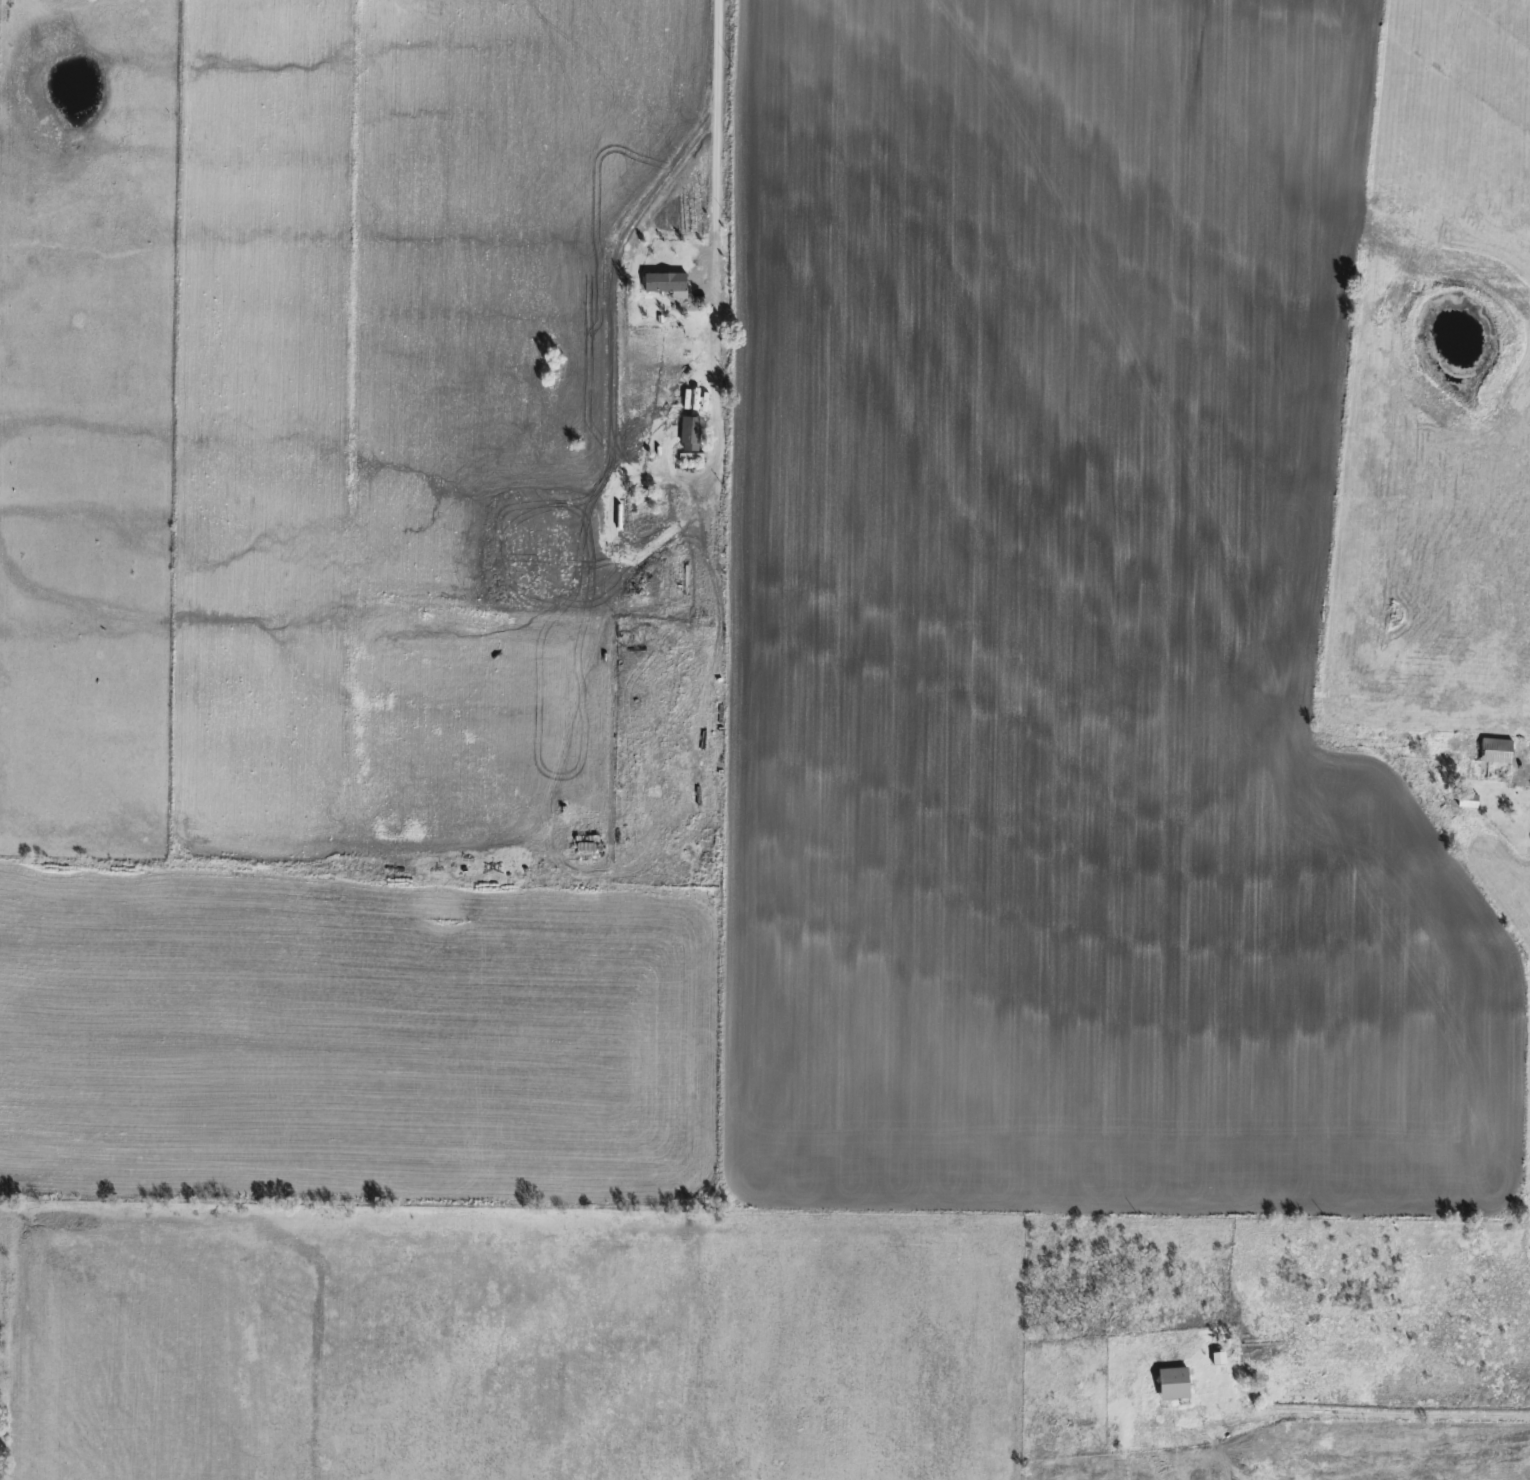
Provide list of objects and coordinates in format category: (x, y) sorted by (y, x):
road: (715, 190)
building: (664, 282)
building: (688, 433)
building: (666, 571)
building: (1494, 750)
building: (1172, 1383)
road: (1368, 1414)

